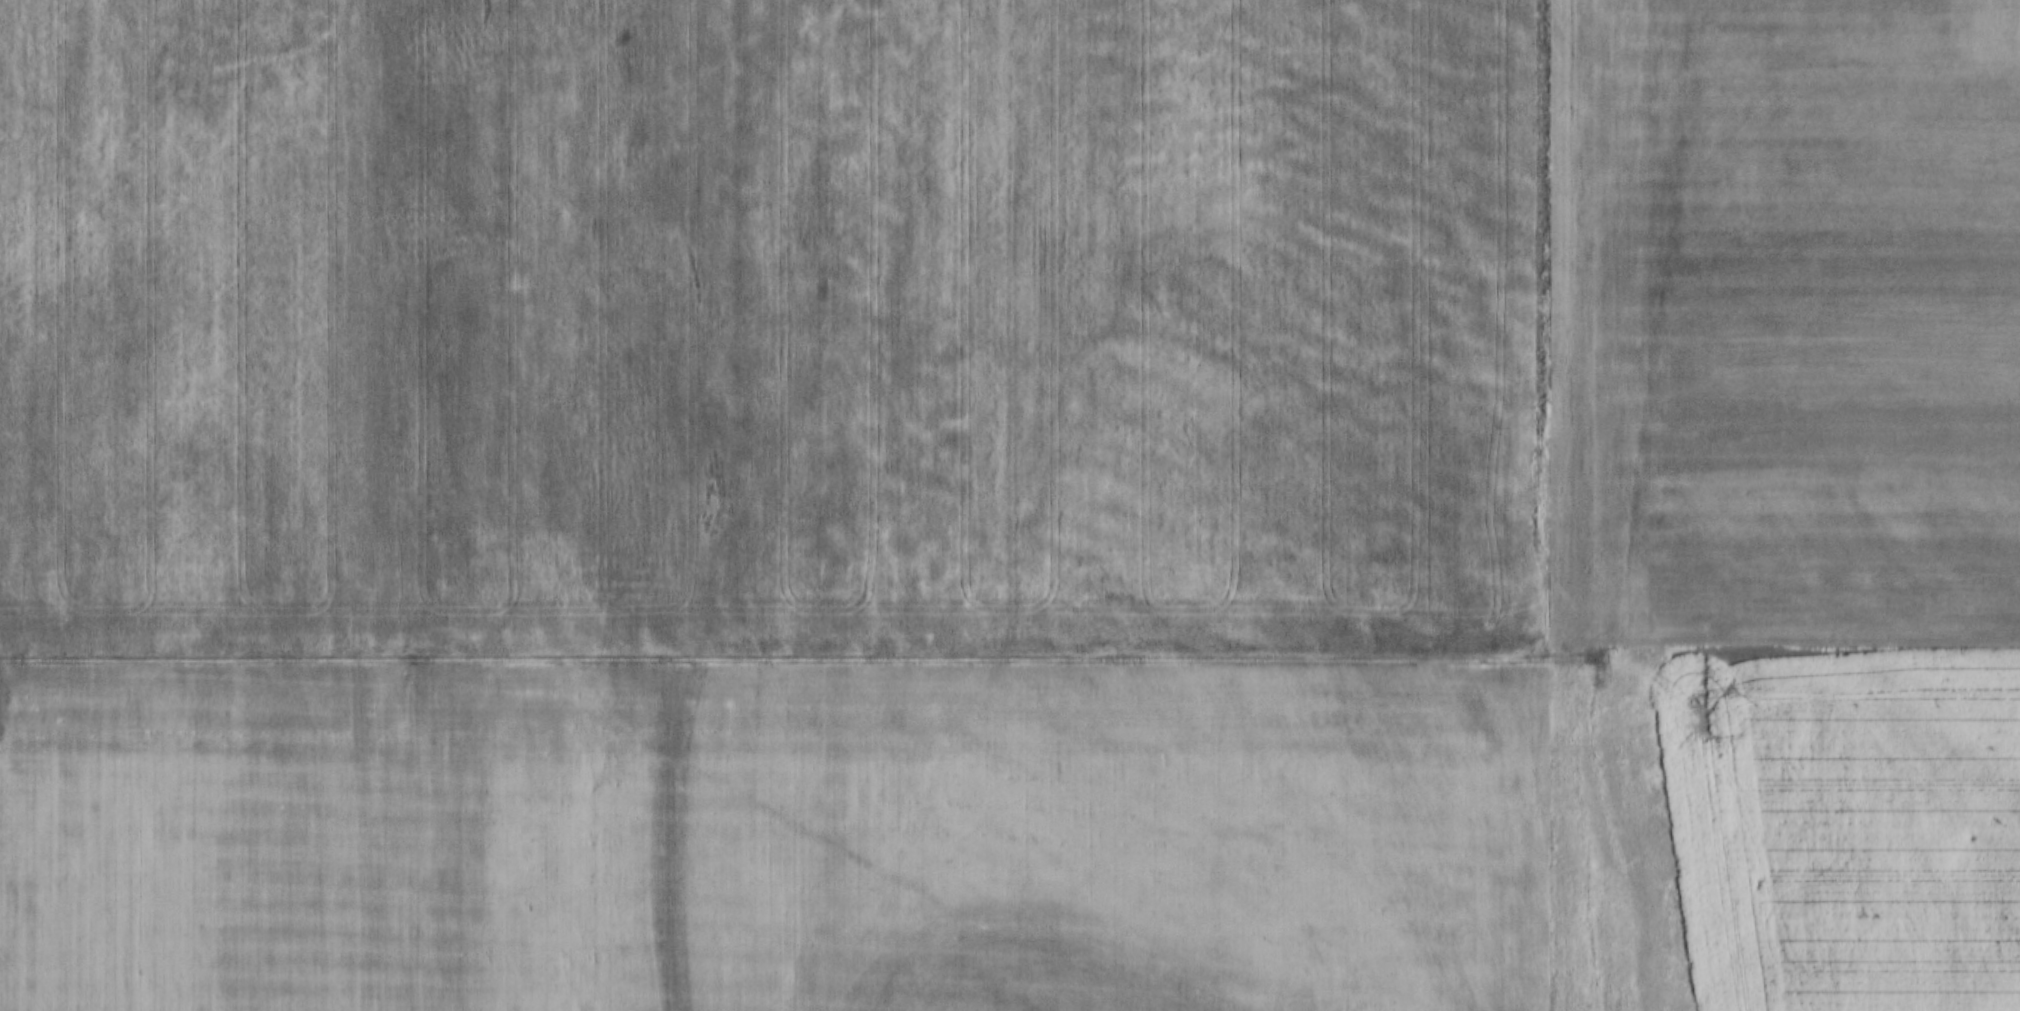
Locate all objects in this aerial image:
quarry: (1848, 153)
road: (1642, 507)

